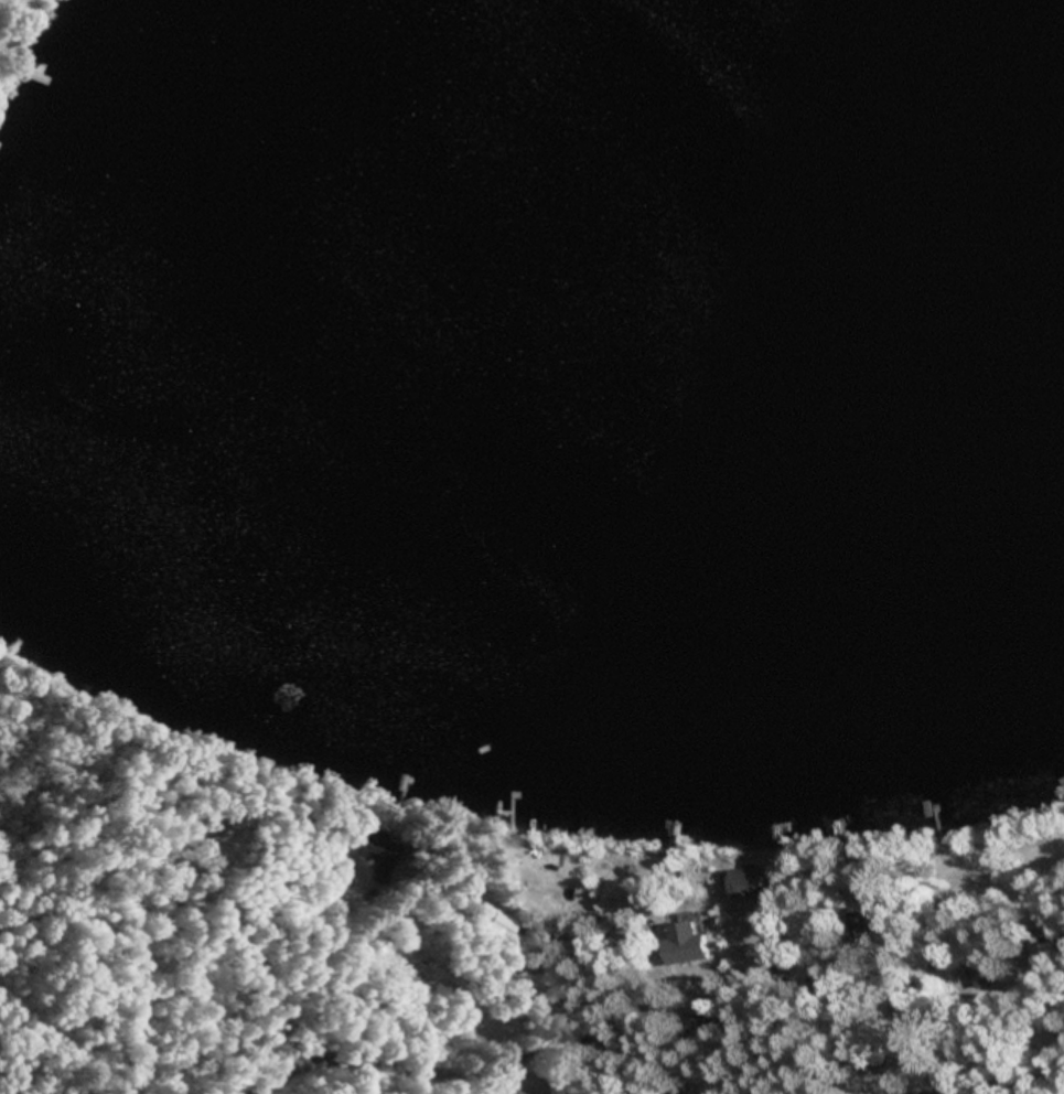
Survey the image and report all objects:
building: (378, 856)
building: (744, 883)
building: (867, 929)
building: (1047, 956)
road: (642, 1038)

